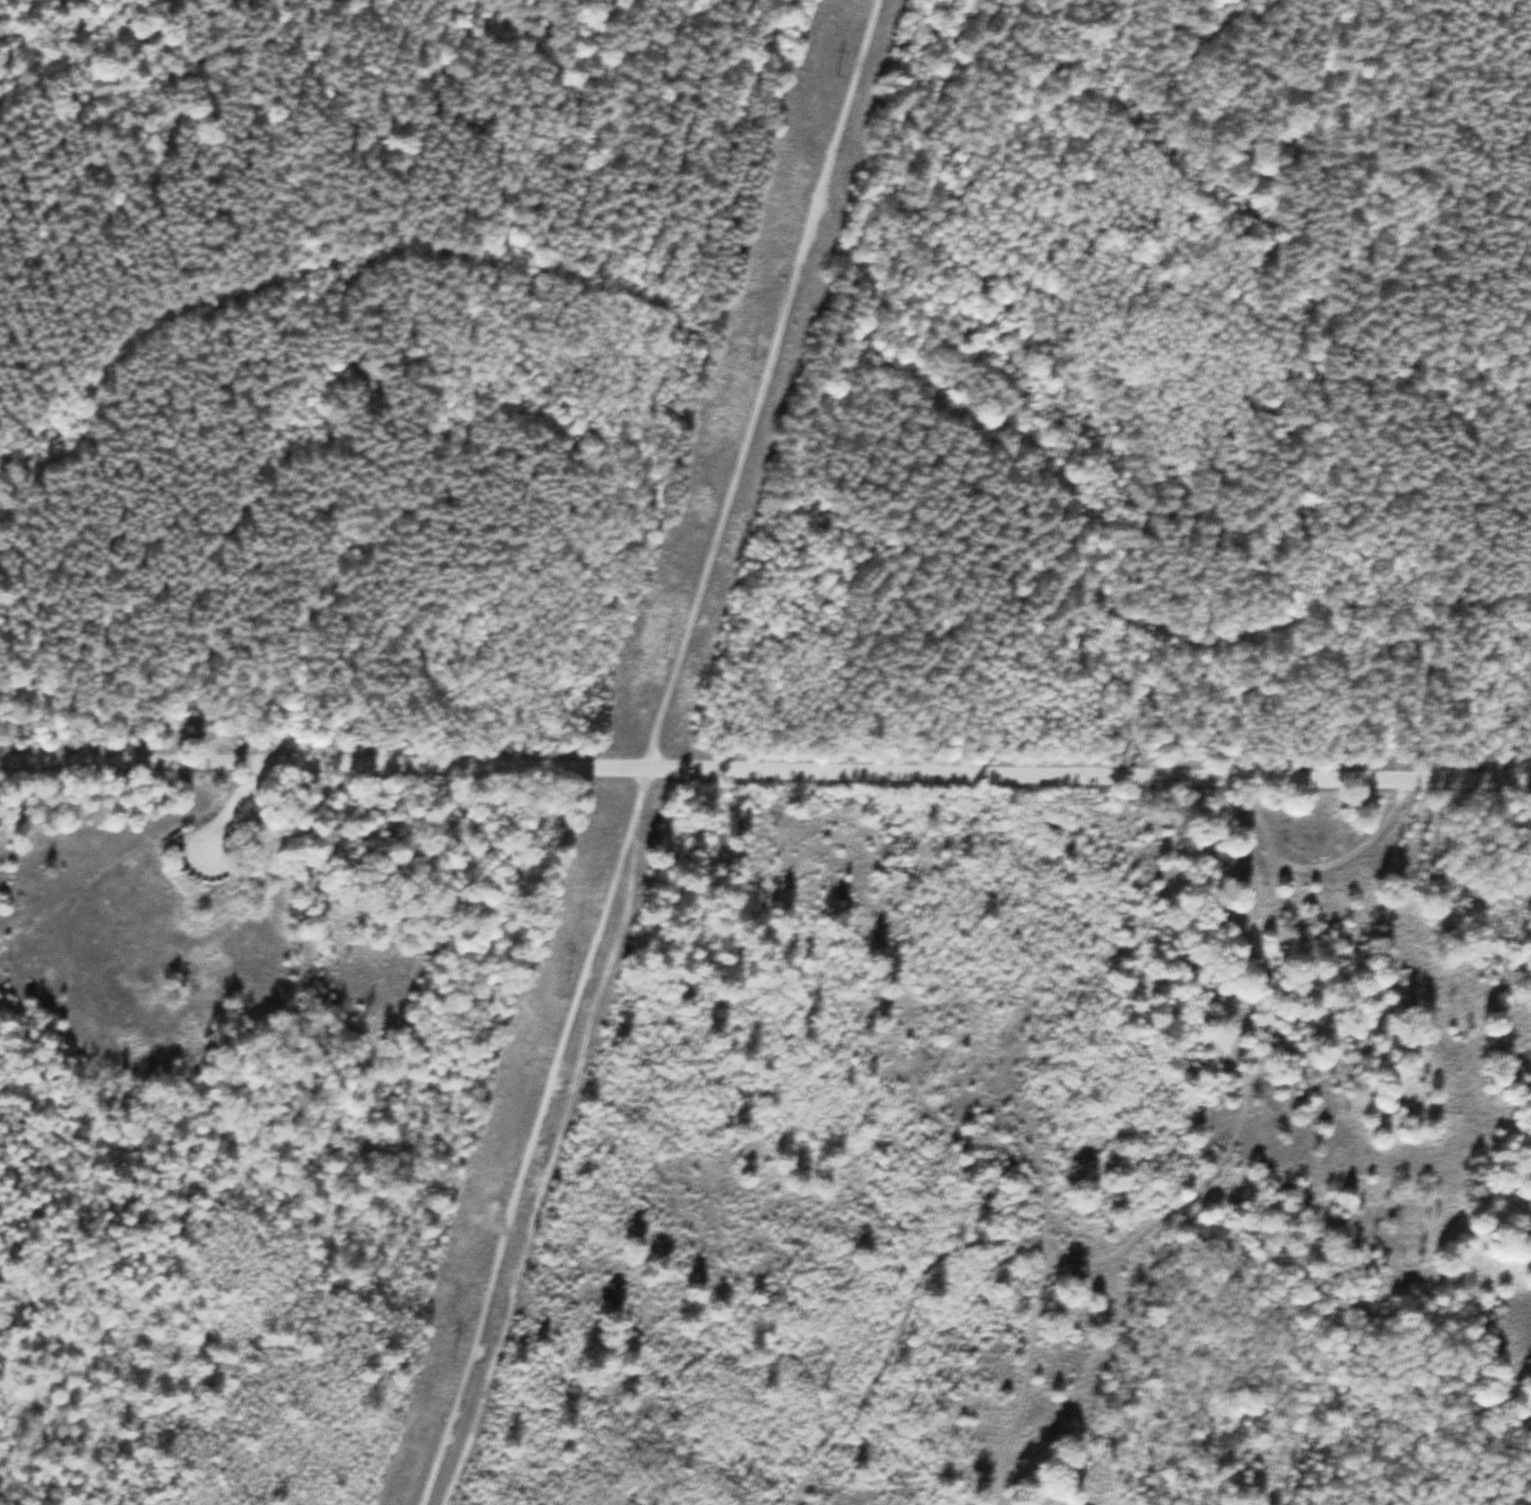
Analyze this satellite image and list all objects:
road: (650, 751)
road: (765, 768)
road: (241, 790)
parking lot: (211, 847)

